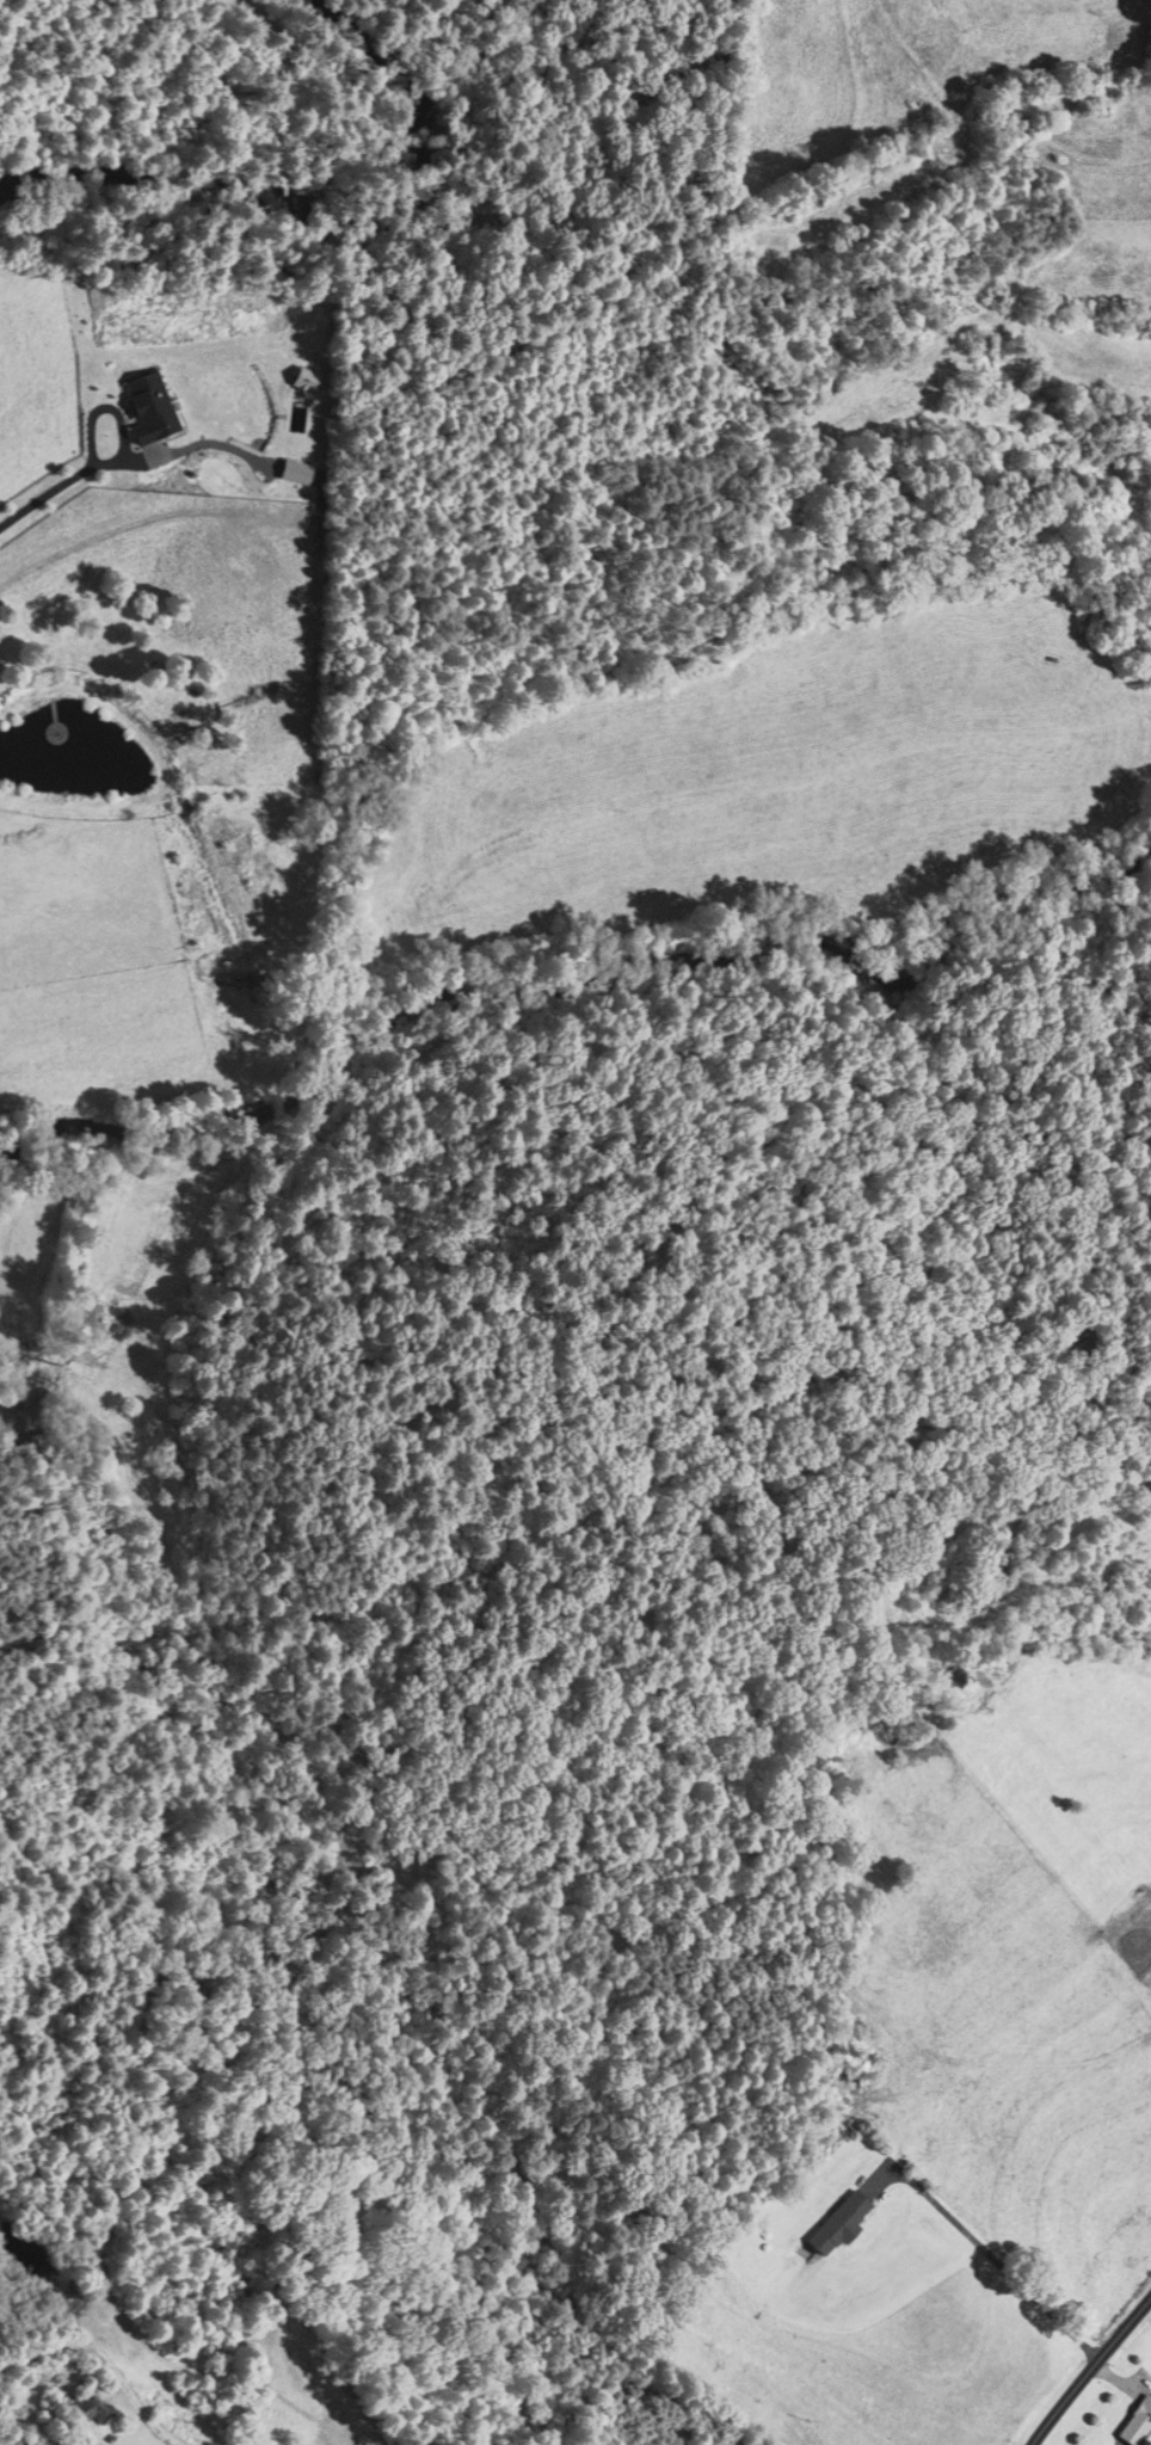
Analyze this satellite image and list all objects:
river: (304, 207)
building: (267, 423)
road: (179, 449)
road: (57, 485)
river: (605, 965)
river: (43, 1163)
building: (837, 2225)
road: (990, 2255)
road: (607, 2301)
road: (1088, 2367)
road: (103, 2371)
building: (91, 2408)

